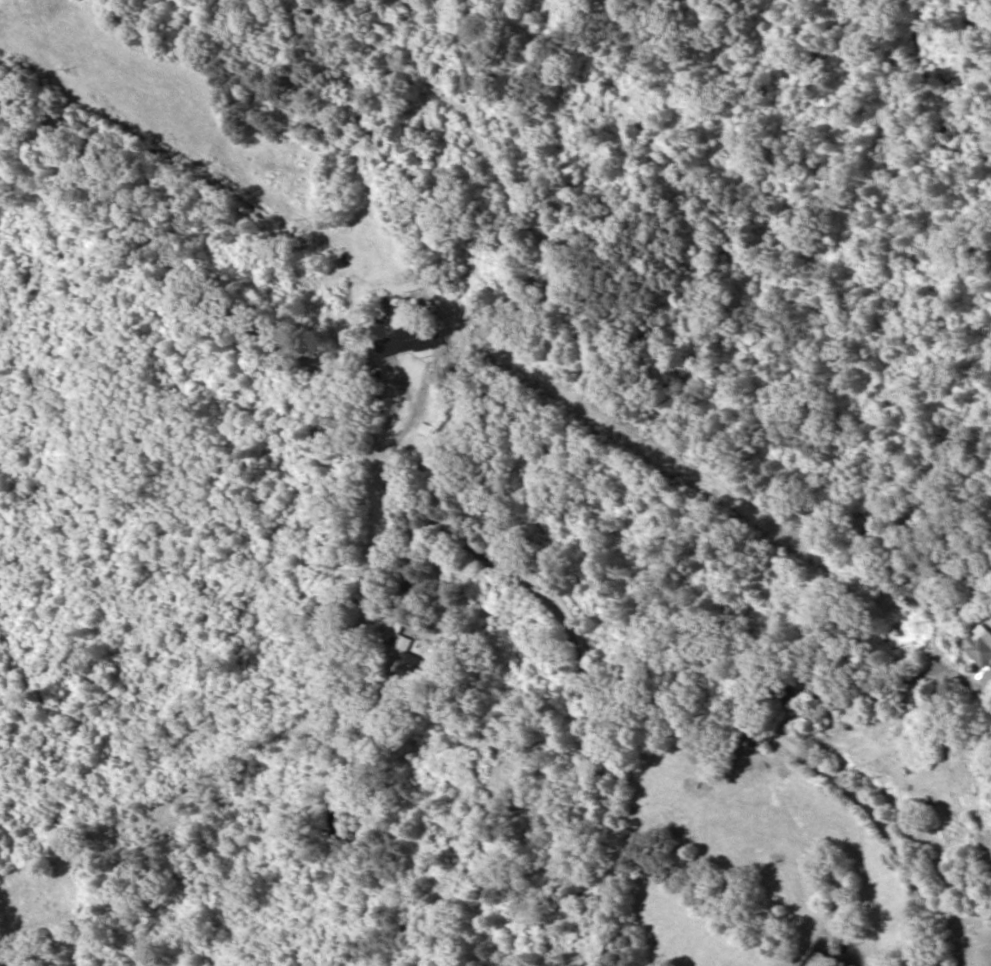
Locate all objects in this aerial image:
building: (417, 340)
road: (462, 505)
building: (980, 651)
building: (402, 663)
road: (15, 844)

